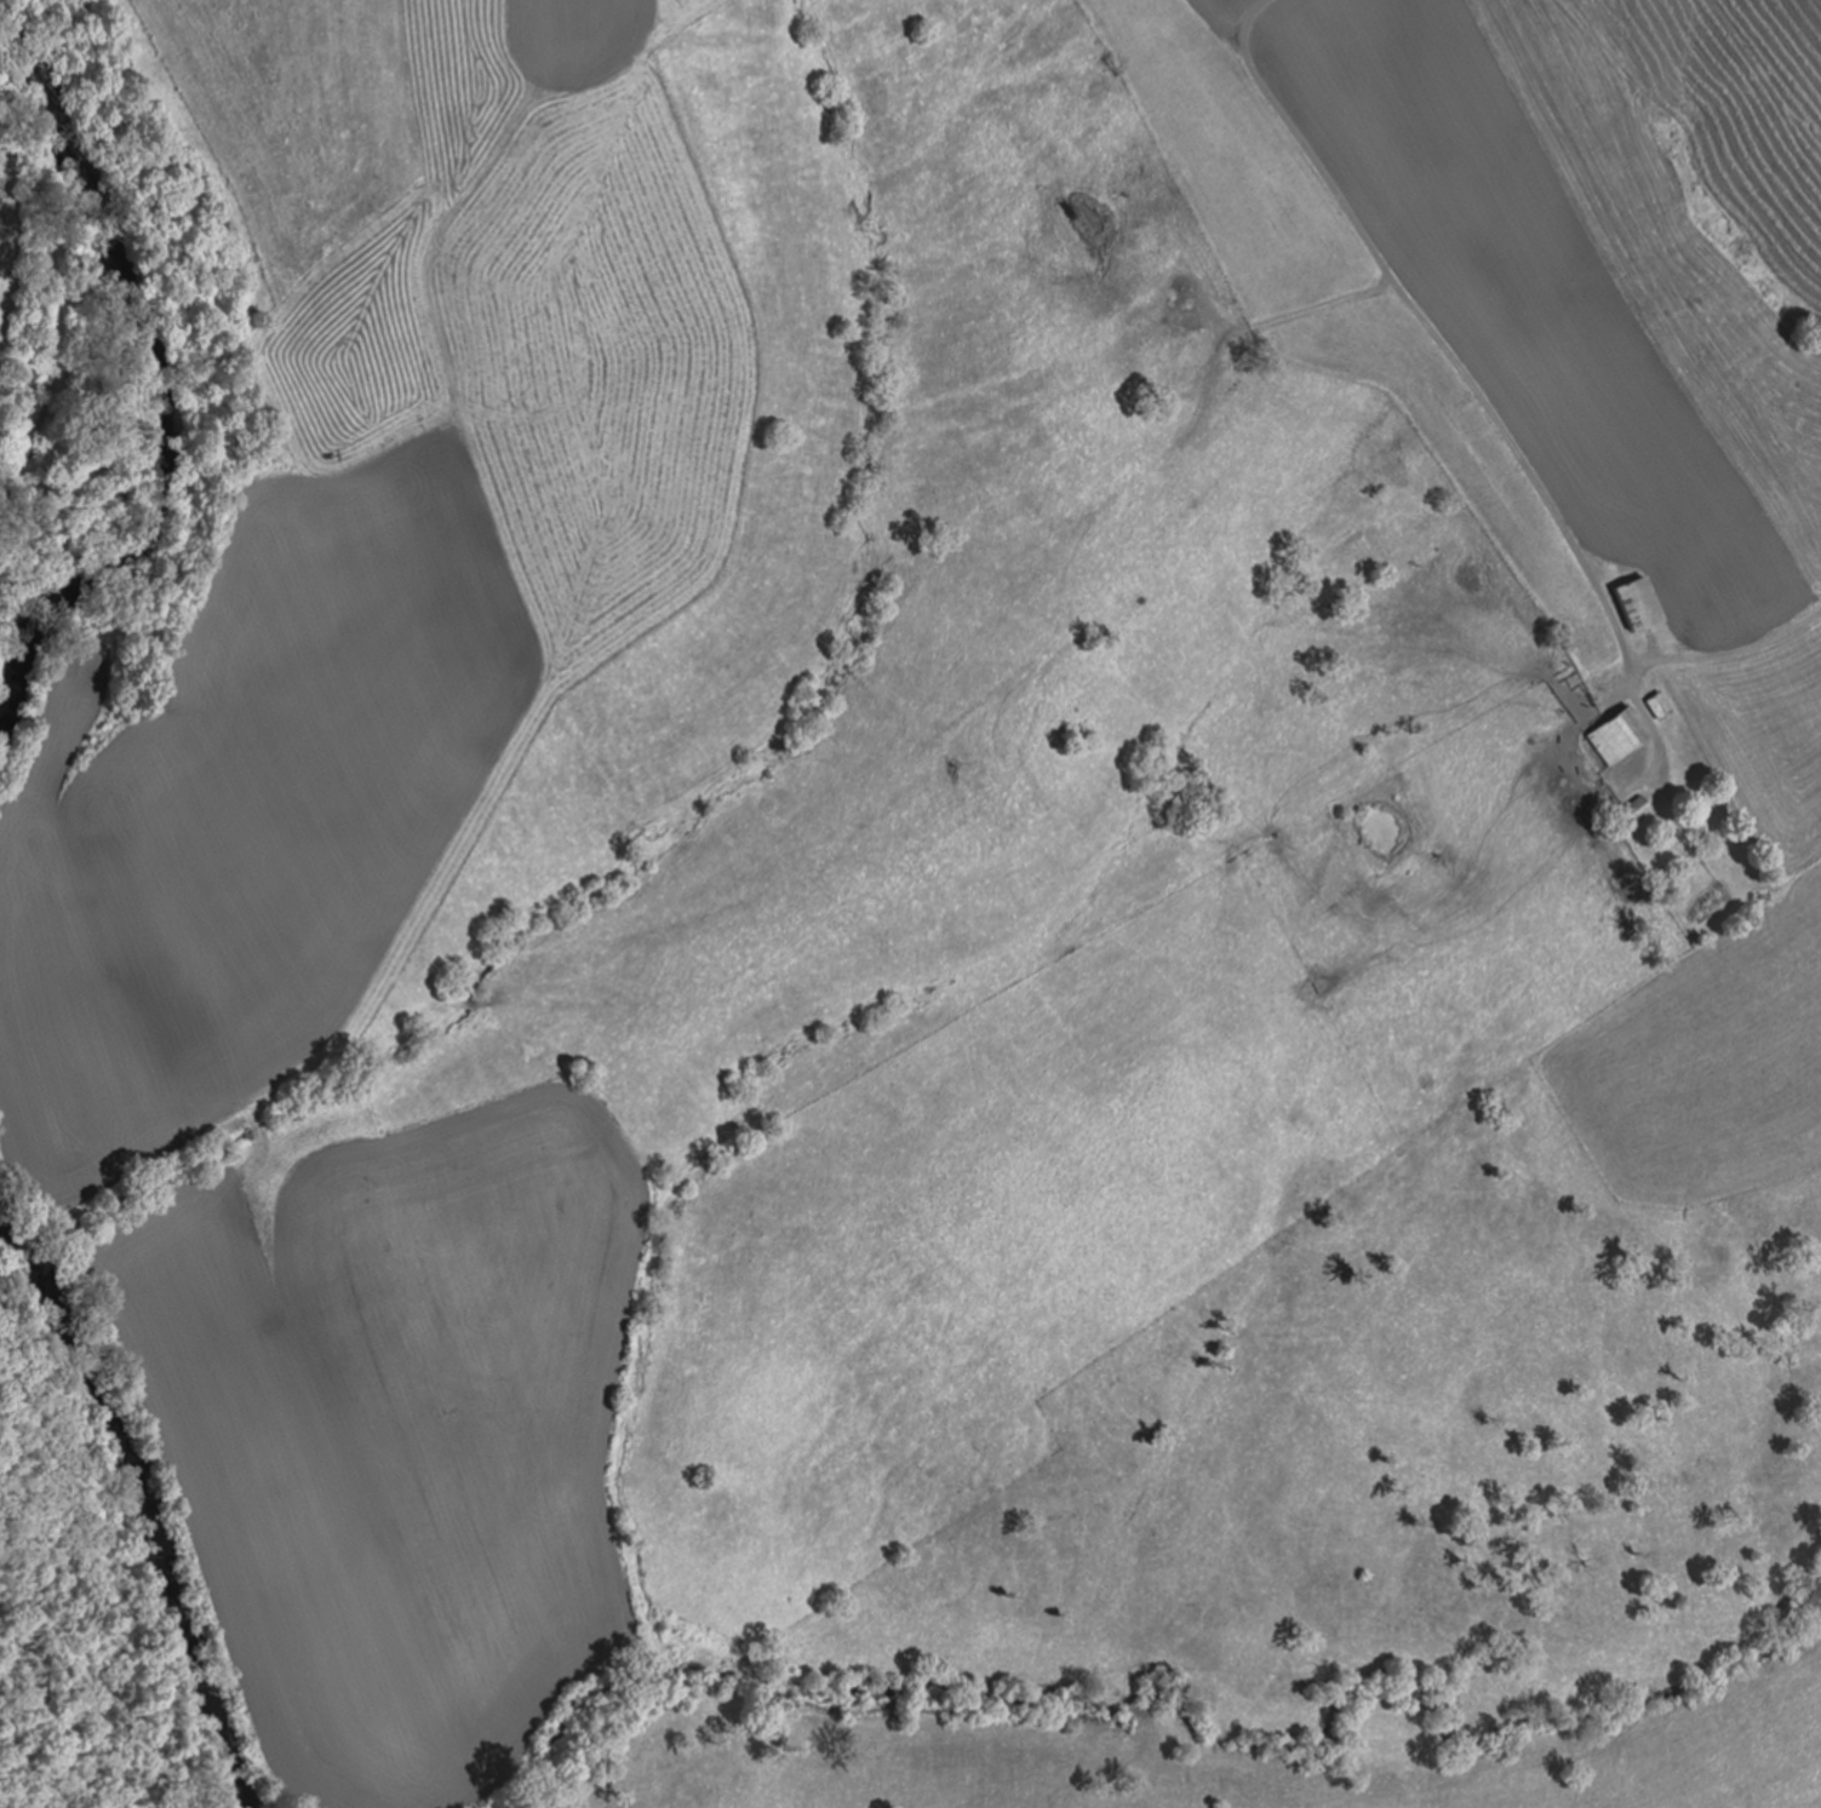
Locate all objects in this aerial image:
river: (160, 383)
building: (1634, 605)
road: (1673, 659)
building: (1659, 706)
building: (1617, 736)
building: (1640, 810)
river: (142, 1499)

